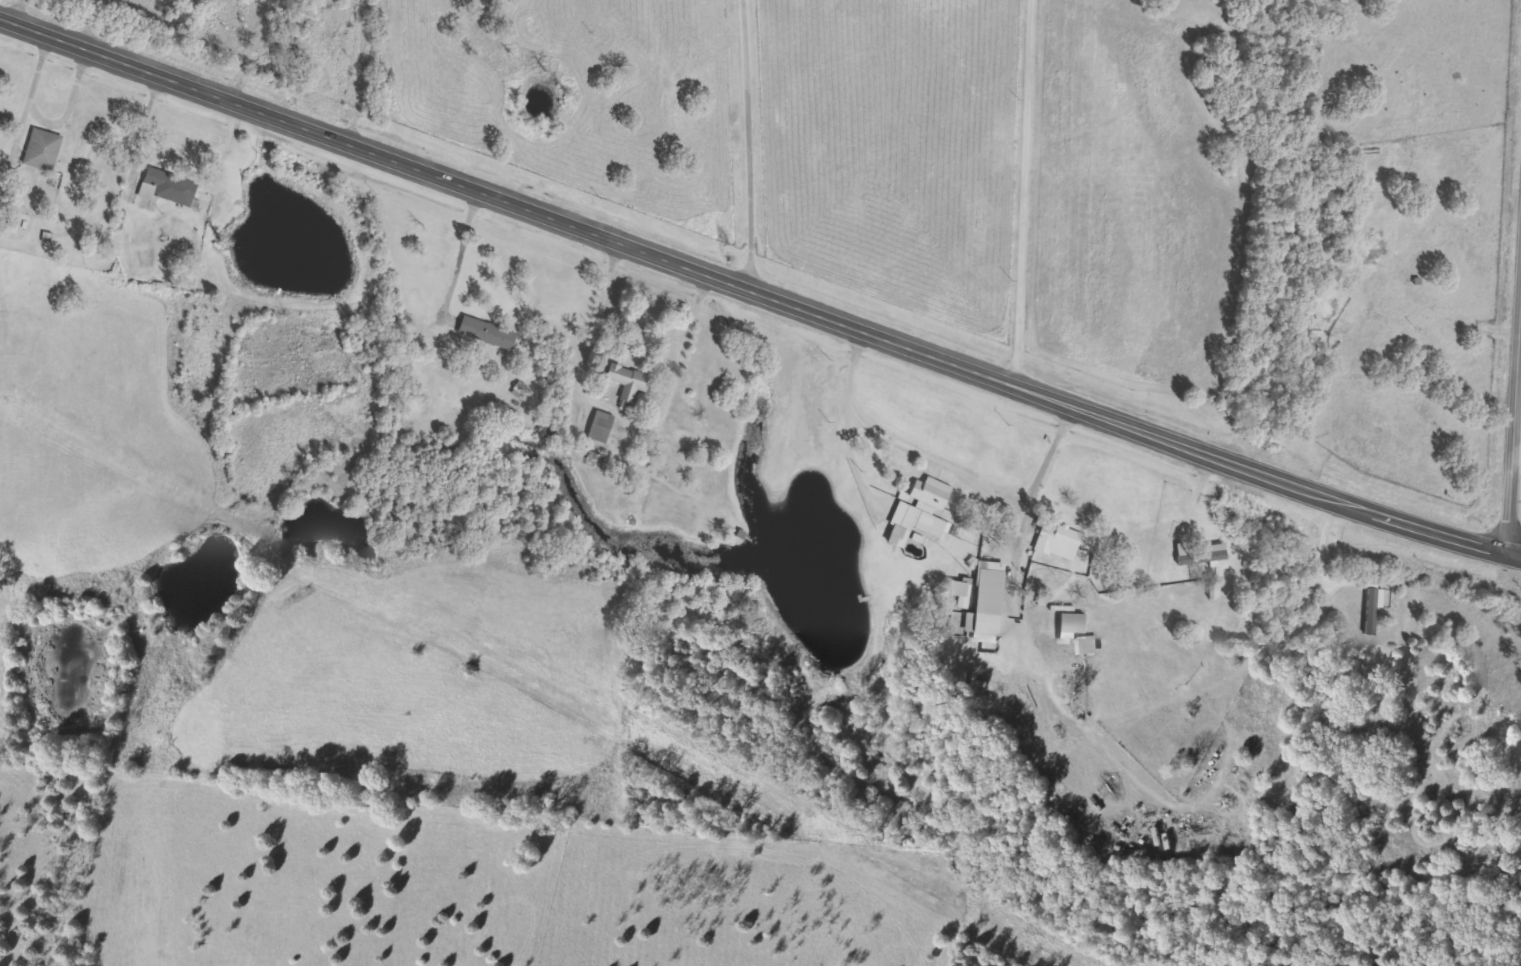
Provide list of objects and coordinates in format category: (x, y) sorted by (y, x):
road: (224, 49)
road: (350, 72)
road: (732, 140)
building: (43, 150)
building: (167, 187)
road: (1027, 189)
road: (753, 285)
building: (489, 332)
building: (629, 383)
road: (851, 423)
road: (1513, 423)
building: (602, 426)
road: (1046, 464)
building: (932, 492)
road: (992, 494)
building: (926, 507)
building: (915, 524)
building: (1059, 541)
building: (1201, 553)
road: (1513, 555)
building: (961, 591)
building: (988, 604)
building: (1374, 608)
building: (1072, 626)
building: (1088, 645)

